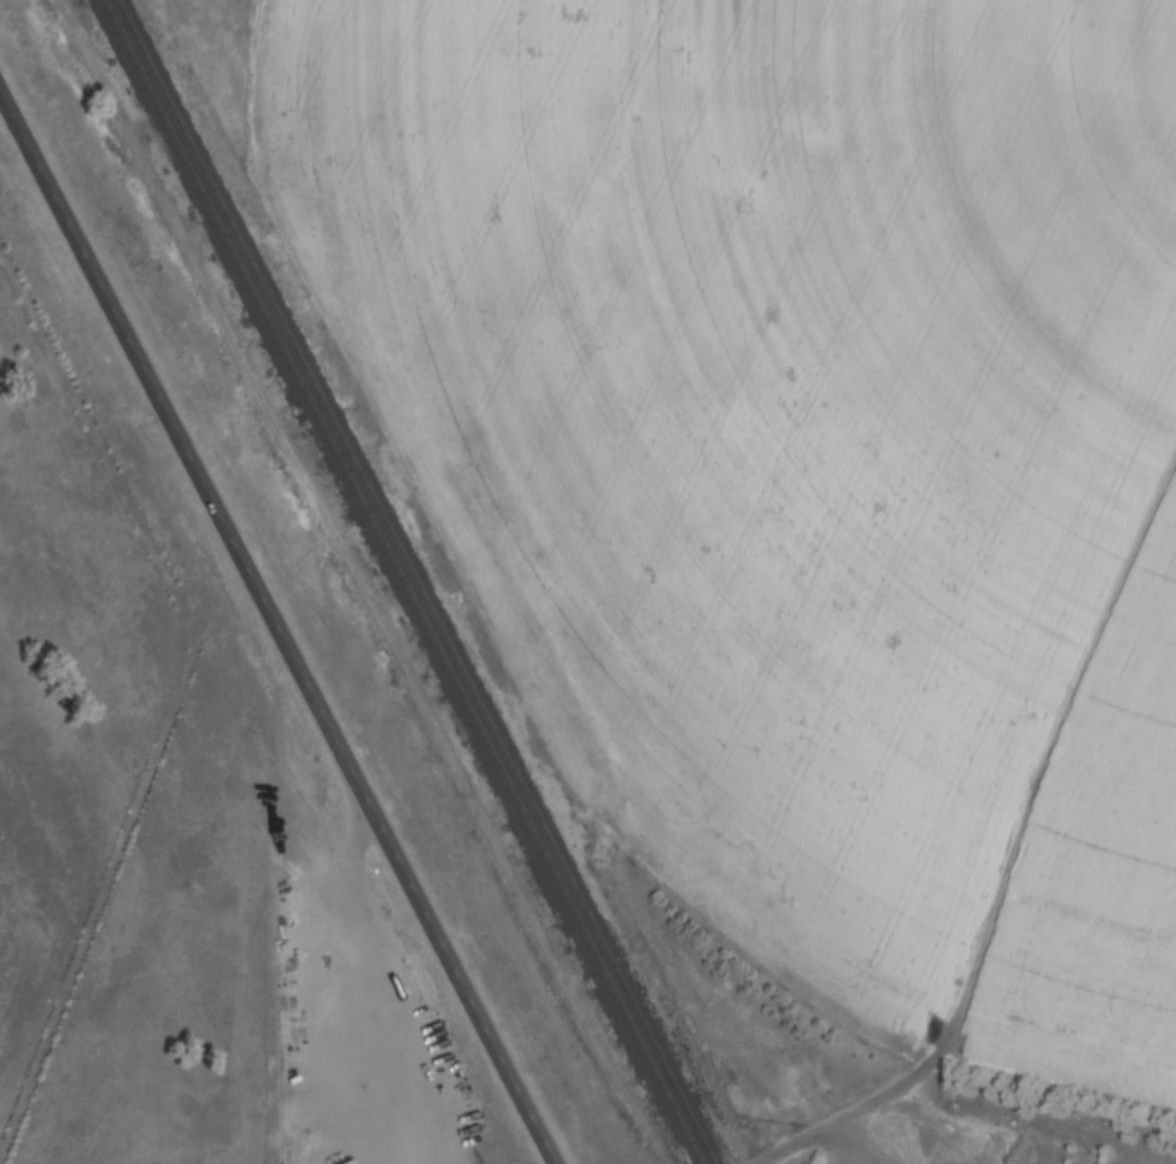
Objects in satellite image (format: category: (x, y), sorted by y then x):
crop: (805, 454)
railway: (398, 581)
railway: (416, 581)
road: (279, 625)

